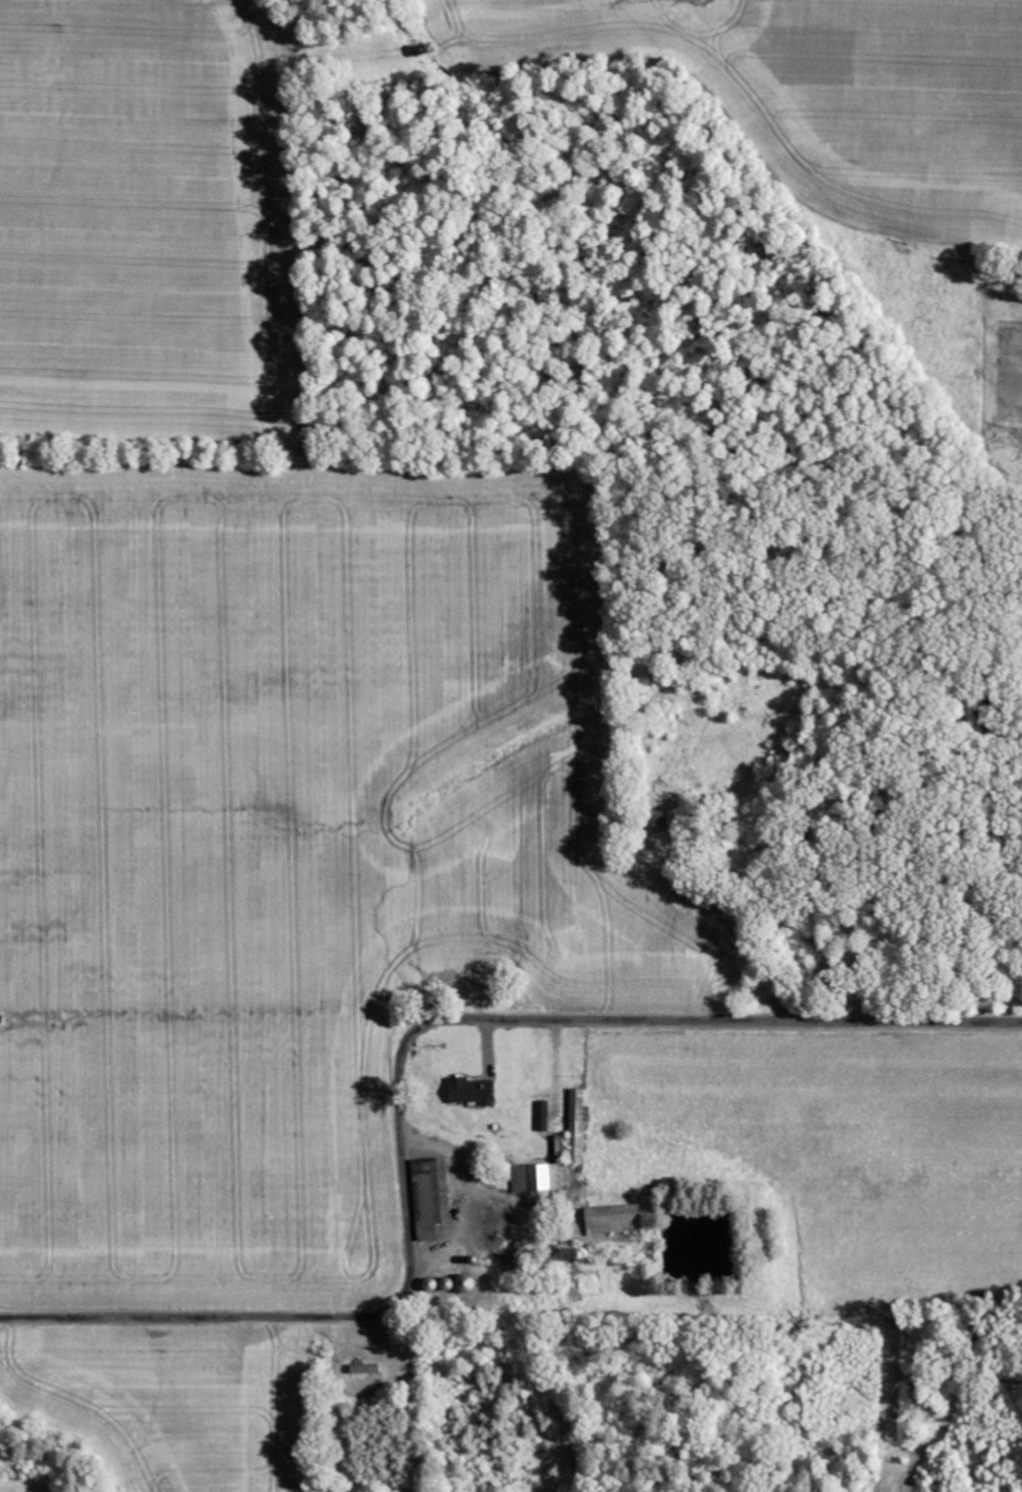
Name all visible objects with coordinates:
building: (667, 820)
road: (398, 1062)
building: (472, 1092)
building: (579, 1110)
building: (543, 1116)
building: (540, 1178)
building: (432, 1197)
building: (615, 1220)

